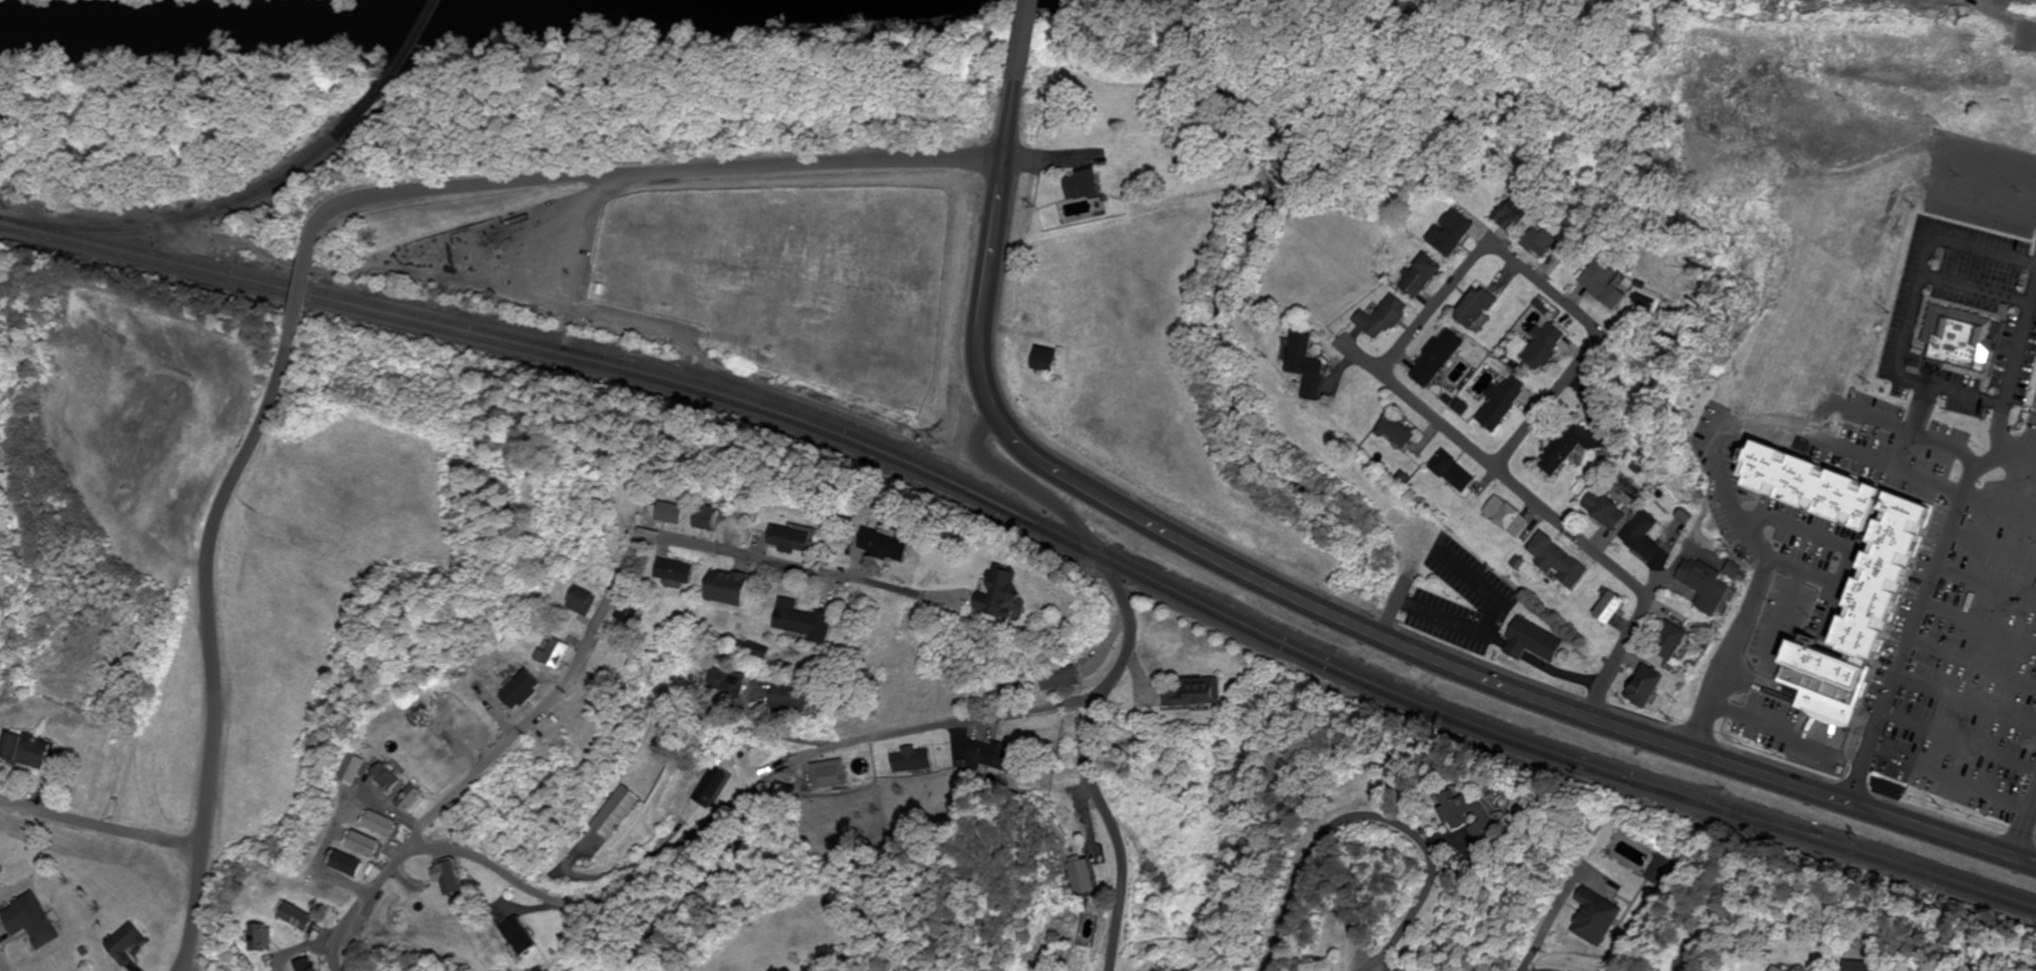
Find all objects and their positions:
road: (1999, 16)
river: (294, 24)
road: (1029, 41)
railway: (399, 74)
park: (1974, 113)
road: (649, 172)
building: (1089, 186)
building: (1519, 214)
railway: (194, 216)
railway: (14, 220)
building: (1455, 233)
building: (1545, 244)
park: (669, 255)
building: (1425, 276)
park: (775, 277)
building: (1609, 284)
road: (1976, 285)
road: (1548, 288)
road: (306, 289)
park: (887, 292)
road: (1912, 305)
building: (1480, 309)
building: (1386, 318)
building: (1547, 346)
building: (1965, 349)
building: (1440, 358)
building: (1047, 361)
road: (2014, 361)
building: (1309, 365)
building: (1503, 403)
road: (1884, 427)
building: (1400, 433)
building: (1574, 447)
road: (2020, 465)
road: (1719, 471)
building: (1455, 473)
road: (2001, 506)
building: (1605, 508)
building: (678, 514)
building: (1508, 517)
building: (715, 519)
railway: (1032, 519)
road: (1566, 524)
building: (1644, 537)
building: (797, 541)
road: (1849, 545)
building: (892, 547)
road: (1994, 547)
building: (1559, 562)
building: (682, 572)
building: (1707, 586)
road: (1987, 586)
road: (1479, 588)
road: (616, 589)
building: (734, 589)
building: (1009, 596)
building: (589, 602)
road: (1925, 603)
building: (1610, 609)
road: (1335, 621)
building: (807, 622)
building: (914, 623)
road: (1980, 625)
road: (1481, 631)
building: (1671, 642)
building: (1534, 643)
road: (214, 645)
building: (560, 655)
road: (1121, 664)
road: (1974, 664)
road: (752, 674)
building: (1064, 680)
building: (1646, 689)
building: (1196, 694)
building: (2030, 694)
building: (794, 698)
building: (1729, 699)
building: (527, 700)
road: (1967, 703)
road: (1960, 743)
building: (30, 751)
building: (990, 756)
building: (911, 761)
building: (361, 770)
building: (829, 775)
building: (394, 778)
road: (1954, 778)
building: (713, 787)
building: (420, 800)
building: (622, 813)
road: (1383, 819)
building: (1478, 821)
road: (102, 824)
building: (388, 824)
road: (2025, 830)
road: (684, 844)
building: (371, 845)
power tower: (73, 860)
building: (354, 865)
building: (1082, 877)
building: (457, 880)
road: (697, 889)
building: (18, 890)
building: (302, 918)
road: (1554, 918)
building: (1597, 918)
power tower: (409, 920)
building: (523, 937)
building: (264, 939)
building: (128, 944)
building: (1696, 957)
building: (312, 965)
building: (1782, 970)

